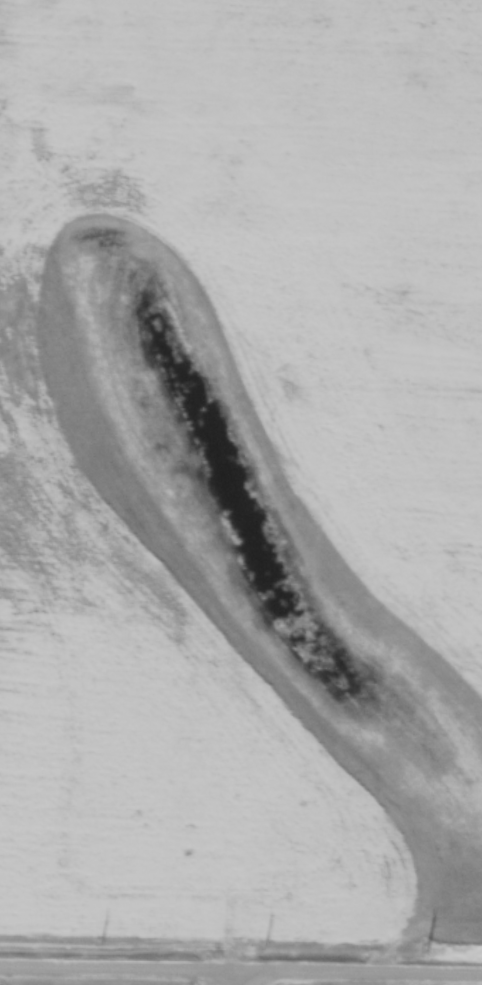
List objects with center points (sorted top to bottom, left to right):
road: (240, 974)
road: (267, 980)

